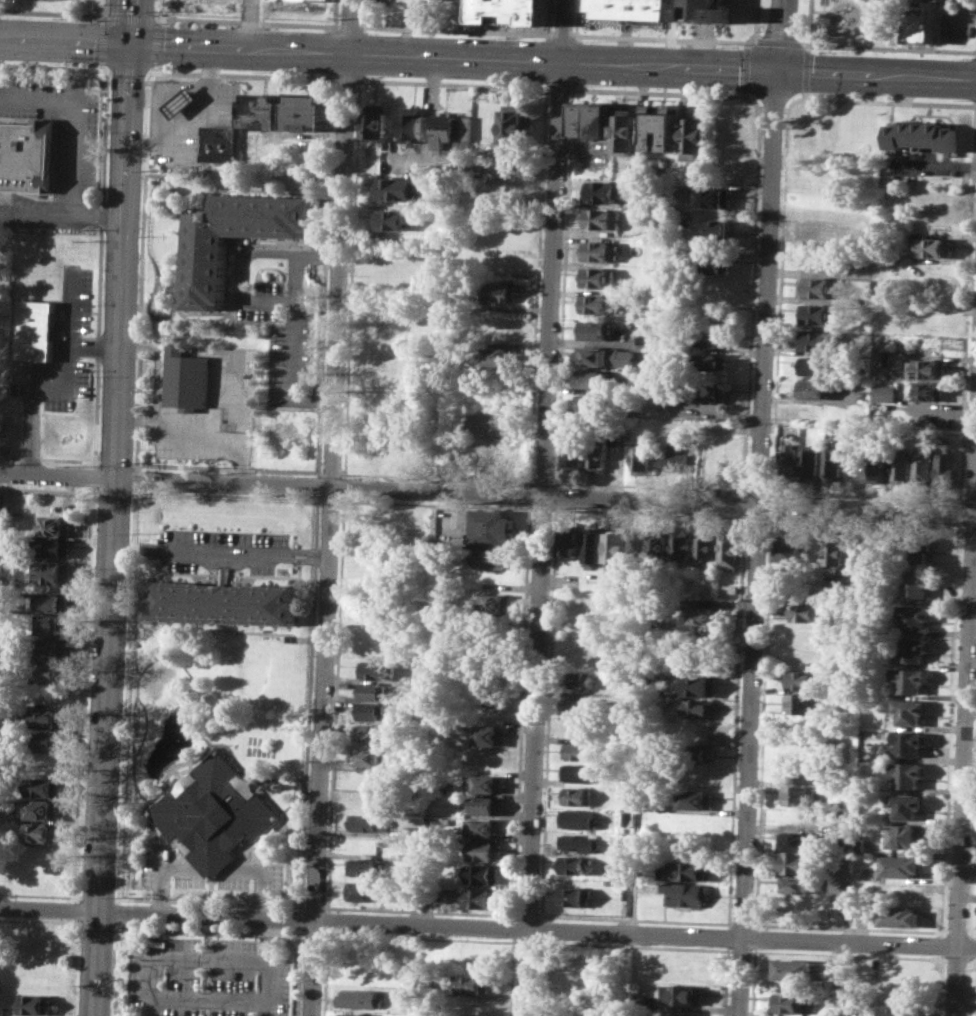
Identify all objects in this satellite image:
street lamp: (20, 0)
building: (329, 0)
street lamp: (103, 2)
road: (157, 8)
building: (627, 8)
road: (106, 9)
building: (703, 10)
road: (51, 11)
building: (511, 11)
road: (335, 12)
road: (129, 17)
road: (160, 20)
road: (247, 20)
street lamp: (168, 23)
building: (919, 23)
street lamp: (572, 24)
road: (249, 25)
road: (349, 25)
street lamp: (269, 27)
road: (454, 29)
street lamp: (376, 31)
road: (561, 34)
road: (780, 35)
street lamp: (499, 37)
road: (104, 39)
road: (664, 39)
street lamp: (593, 40)
road: (778, 41)
road: (158, 43)
road: (804, 43)
street lamp: (736, 44)
road: (871, 45)
traffic signals: (132, 46)
street lamp: (825, 51)
road: (388, 57)
street lamp: (964, 57)
street lamp: (65, 61)
road: (55, 65)
street lamp: (170, 67)
road: (109, 68)
road: (130, 69)
road: (153, 70)
traffic signals: (778, 70)
street lamp: (266, 71)
street lamp: (23, 72)
street lamp: (62, 74)
road: (243, 74)
road: (877, 74)
street lamp: (112, 75)
street lamp: (373, 76)
street lamp: (498, 81)
street lamp: (592, 85)
street lamp: (736, 91)
street lamp: (822, 93)
street lamp: (963, 99)
building: (183, 101)
building: (266, 109)
building: (310, 111)
road: (197, 115)
street lamp: (103, 116)
road: (74, 119)
building: (593, 119)
parking lot: (60, 123)
building: (414, 123)
building: (516, 124)
building: (378, 125)
building: (663, 128)
building: (453, 129)
street lamp: (109, 130)
building: (627, 131)
building: (696, 133)
building: (920, 134)
building: (222, 143)
building: (26, 156)
building: (507, 168)
street lamp: (101, 180)
building: (398, 189)
building: (602, 191)
building: (713, 198)
road: (36, 212)
road: (100, 213)
building: (603, 218)
building: (392, 220)
building: (720, 228)
street lamp: (33, 230)
street lamp: (76, 231)
street lamp: (141, 234)
building: (234, 239)
building: (932, 246)
building: (601, 250)
road: (327, 255)
building: (714, 262)
road: (101, 267)
road: (243, 275)
building: (599, 277)
building: (822, 287)
building: (500, 291)
building: (598, 303)
building: (819, 313)
road: (294, 329)
building: (37, 330)
building: (596, 330)
building: (648, 338)
building: (713, 338)
building: (818, 340)
road: (95, 345)
parking lot: (64, 348)
building: (501, 355)
building: (605, 356)
building: (878, 359)
building: (713, 361)
road: (159, 366)
building: (818, 366)
building: (928, 368)
street lamp: (100, 374)
building: (505, 374)
street lamp: (152, 376)
building: (185, 378)
building: (595, 379)
road: (61, 380)
building: (813, 389)
building: (929, 390)
building: (712, 392)
building: (884, 392)
road: (323, 401)
building: (594, 404)
building: (929, 416)
road: (137, 418)
building: (490, 420)
road: (209, 438)
street lamp: (149, 448)
building: (456, 454)
building: (597, 454)
building: (576, 455)
road: (47, 458)
building: (788, 459)
building: (809, 459)
building: (642, 460)
building: (671, 460)
street lamp: (132, 461)
street lamp: (231, 461)
road: (115, 462)
building: (922, 463)
road: (94, 464)
road: (133, 464)
building: (833, 464)
building: (877, 464)
street lamp: (89, 465)
building: (902, 465)
road: (135, 466)
building: (946, 467)
road: (227, 468)
road: (93, 476)
road: (136, 478)
street lamp: (227, 492)
road: (487, 493)
road: (115, 507)
road: (331, 507)
road: (544, 507)
building: (54, 525)
street lamp: (183, 526)
building: (494, 528)
street lamp: (269, 530)
building: (569, 541)
road: (756, 542)
building: (594, 544)
building: (616, 545)
building: (682, 545)
building: (640, 546)
building: (52, 547)
building: (660, 547)
building: (705, 547)
building: (917, 547)
road: (200, 549)
parking lot: (222, 549)
building: (728, 549)
building: (785, 549)
road: (308, 551)
road: (287, 553)
building: (835, 554)
road: (308, 558)
building: (495, 559)
building: (52, 572)
building: (916, 583)
building: (730, 587)
building: (50, 601)
building: (224, 602)
building: (495, 603)
building: (805, 609)
building: (701, 614)
building: (915, 617)
building: (51, 624)
building: (804, 633)
building: (913, 647)
building: (377, 648)
building: (50, 649)
building: (802, 657)
building: (375, 669)
building: (49, 673)
building: (911, 678)
building: (580, 680)
building: (802, 680)
building: (701, 685)
building: (373, 690)
road: (85, 693)
road: (127, 695)
building: (802, 703)
building: (581, 706)
building: (699, 708)
building: (372, 711)
building: (911, 711)
building: (49, 718)
building: (371, 733)
road: (965, 735)
building: (489, 736)
building: (47, 741)
building: (910, 741)
building: (799, 749)
building: (578, 750)
building: (697, 754)
building: (369, 757)
building: (580, 773)
building: (909, 773)
building: (697, 777)
building: (485, 784)
building: (45, 787)
building: (798, 795)
building: (576, 796)
building: (693, 799)
building: (907, 804)
building: (488, 806)
building: (40, 808)
building: (214, 812)
building: (579, 818)
building: (797, 818)
building: (364, 821)
road: (637, 826)
building: (483, 828)
building: (42, 831)
building: (905, 835)
building: (579, 842)
building: (794, 842)
building: (484, 850)
building: (796, 863)
building: (575, 864)
building: (902, 865)
building: (365, 867)
road: (213, 869)
building: (687, 870)
building: (481, 873)
building: (795, 884)
building: (362, 890)
building: (687, 893)
building: (574, 896)
building: (479, 897)
road: (49, 909)
road: (77, 909)
road: (118, 912)
building: (900, 914)
road: (209, 917)
road: (647, 933)
building: (39, 935)
road: (74, 967)
road: (271, 968)
road: (116, 969)
building: (794, 969)
building: (358, 972)
road: (152, 976)
parking lot: (211, 978)
building: (832, 982)
building: (475, 983)
building: (685, 994)
building: (362, 998)
building: (794, 1002)
building: (34, 1004)
building: (474, 1006)
road: (207, 1008)
building: (900, 1010)
building: (356, 1014)

